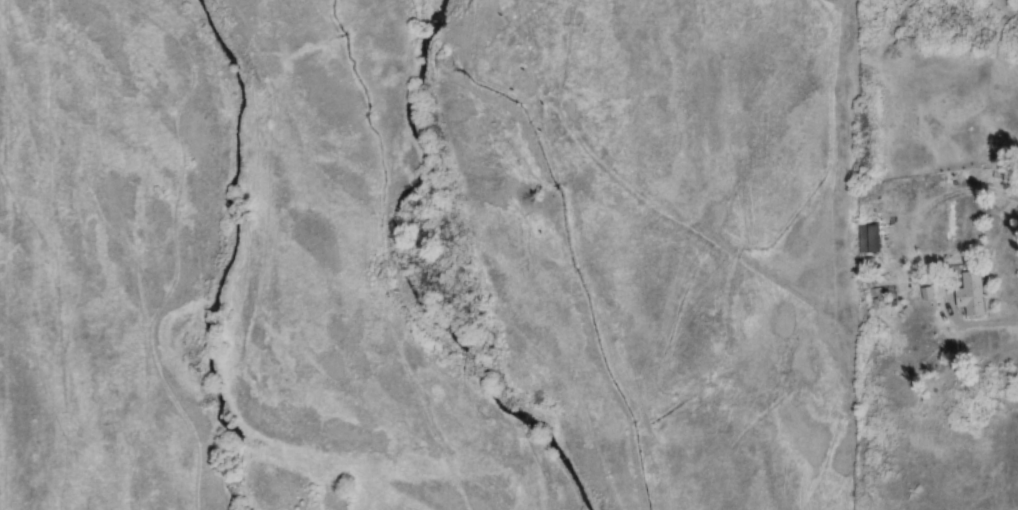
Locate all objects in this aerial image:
building: (867, 241)
building: (977, 297)
road: (1014, 318)

